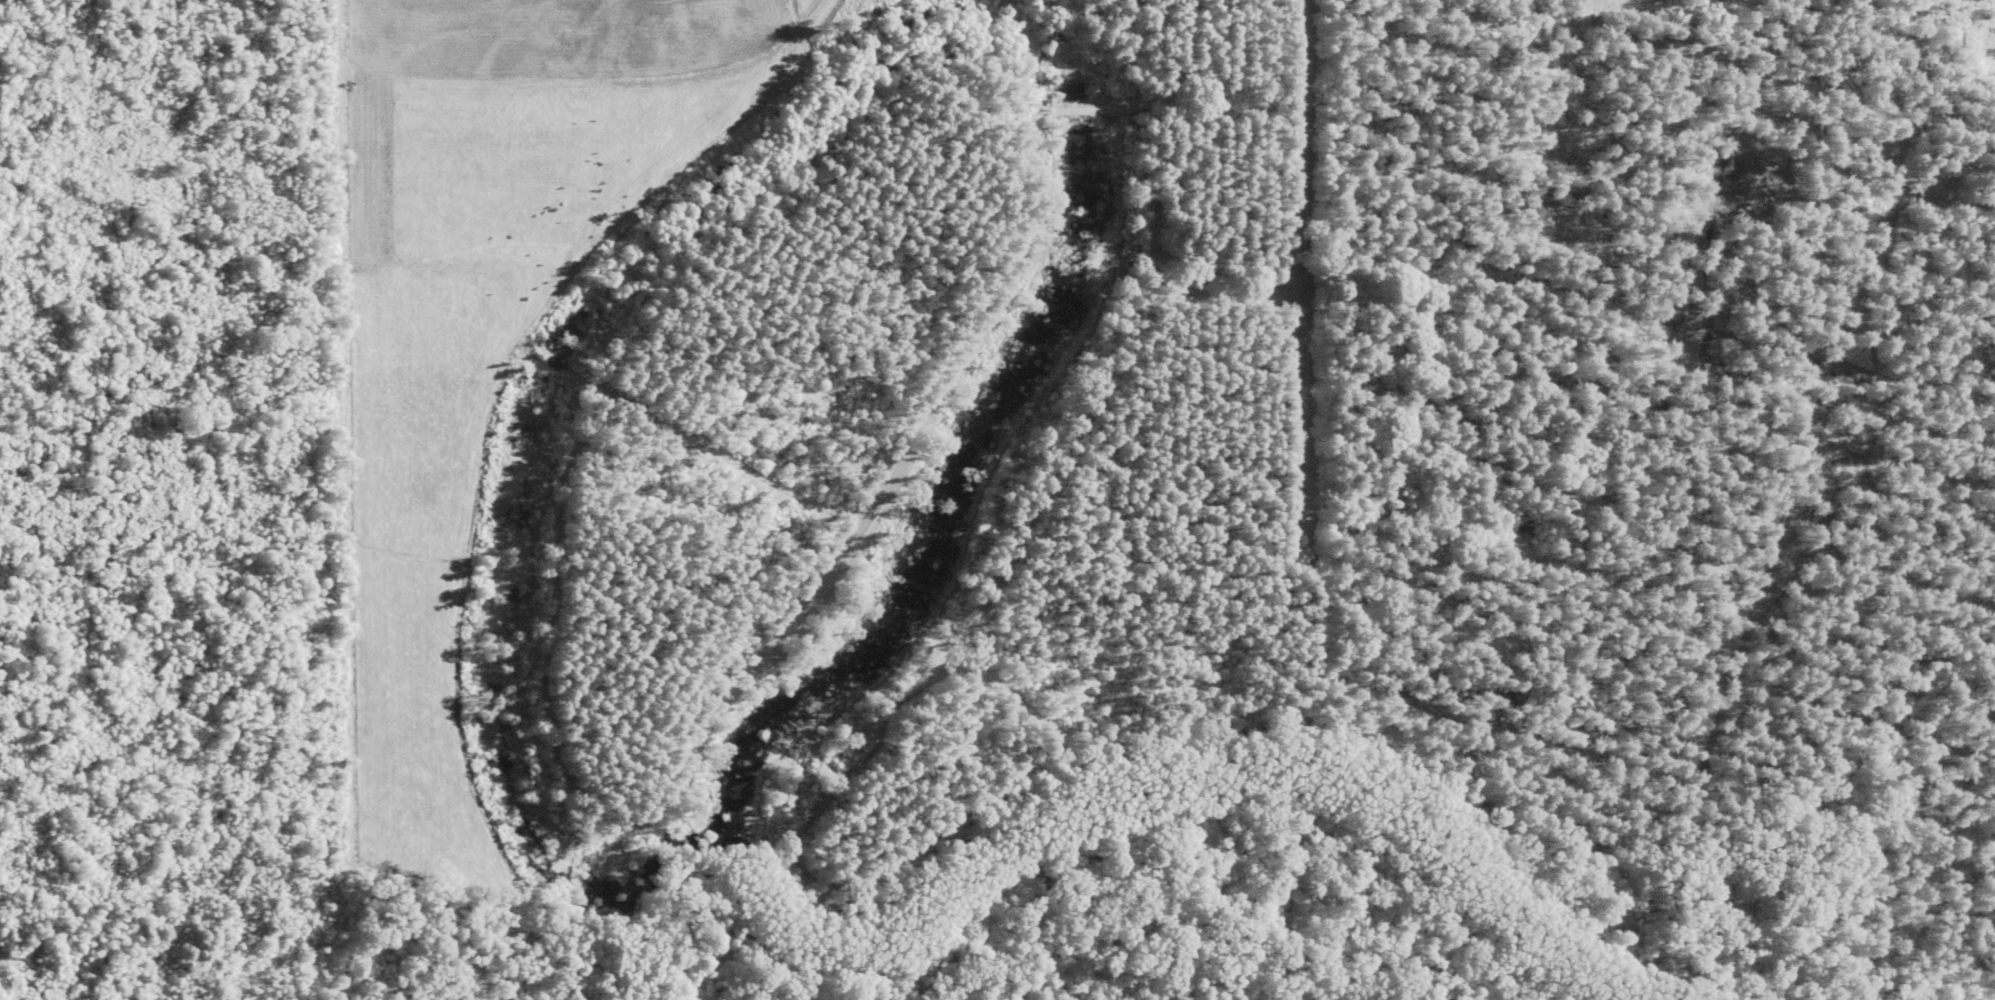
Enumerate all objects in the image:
building: (1704, 1)

